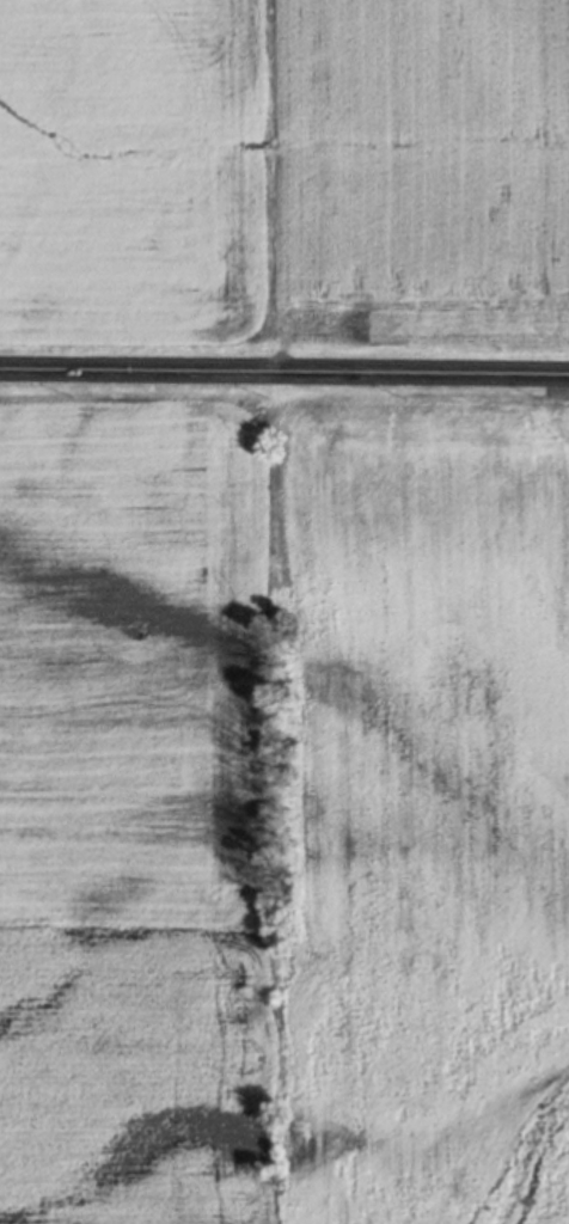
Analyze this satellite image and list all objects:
road: (284, 372)

